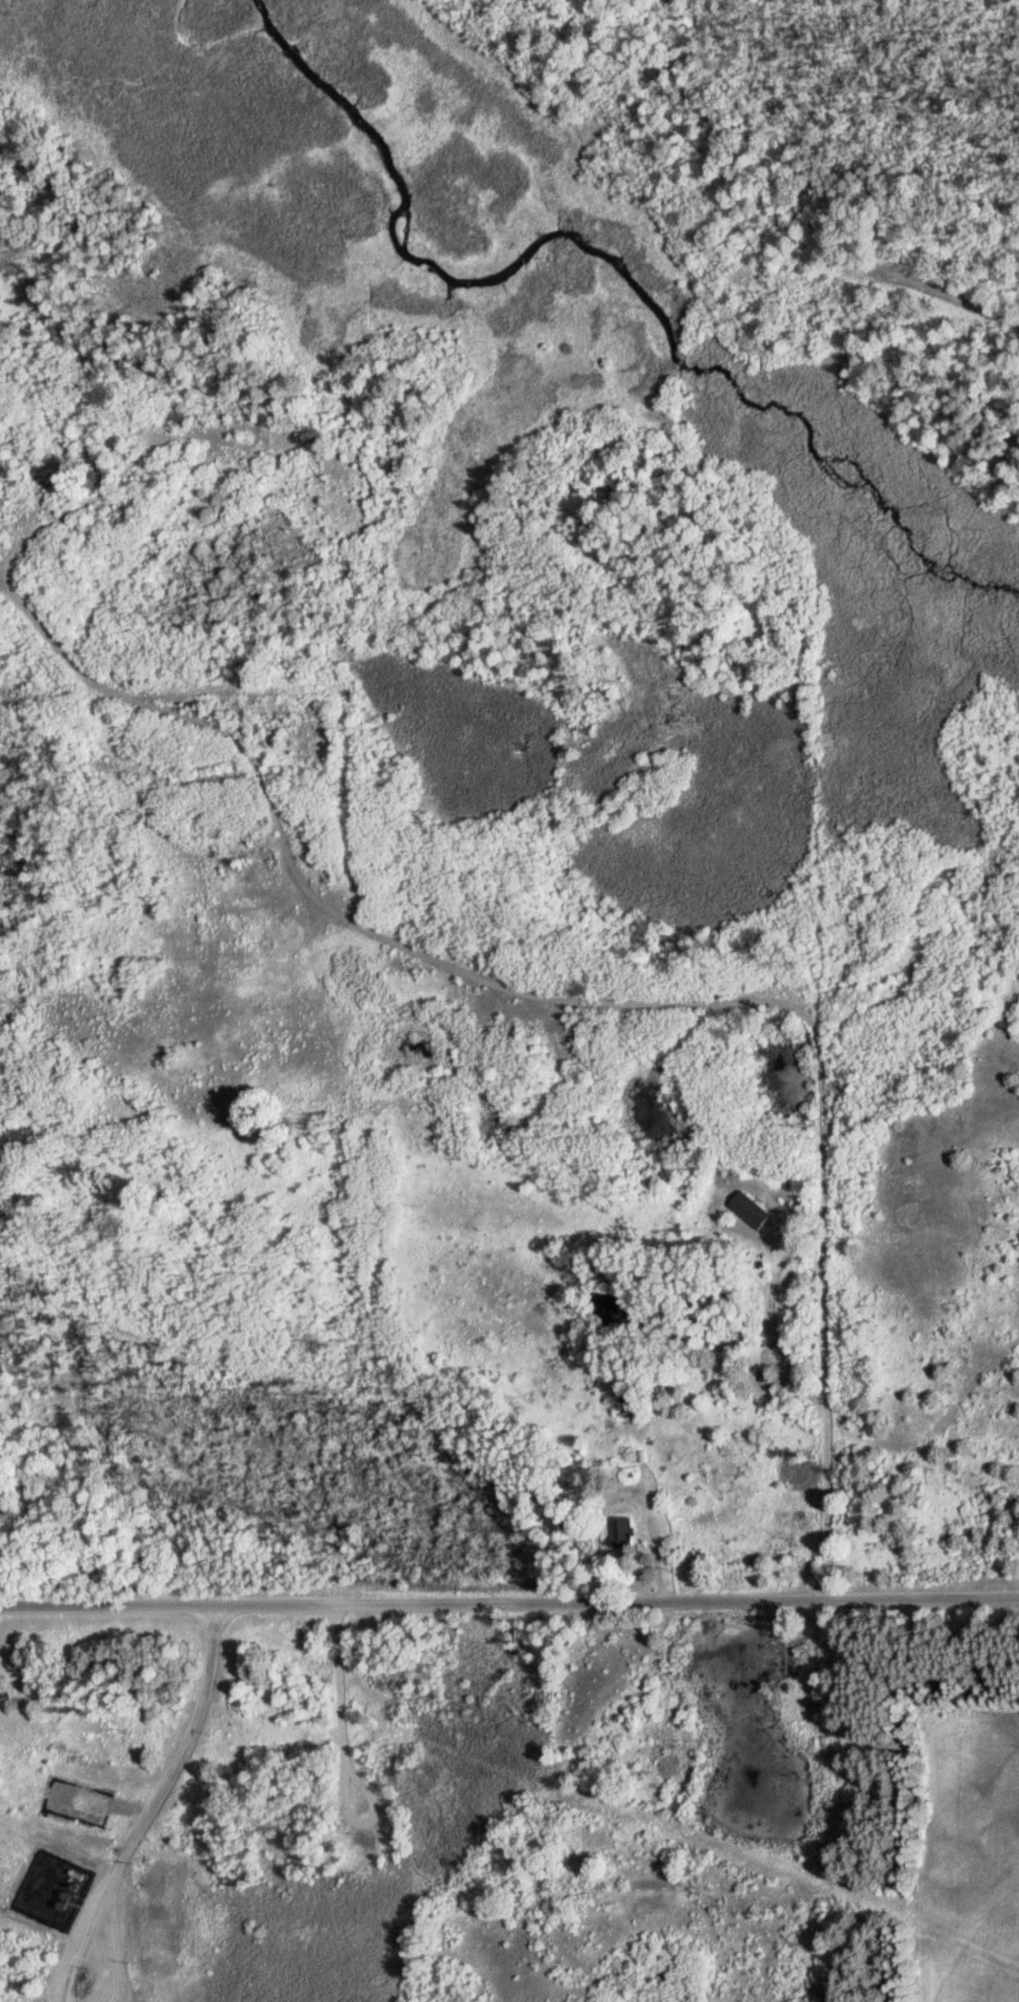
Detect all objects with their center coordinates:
road: (821, 1097)
building: (748, 1209)
building: (620, 1531)
road: (509, 1603)
building: (2, 1698)

